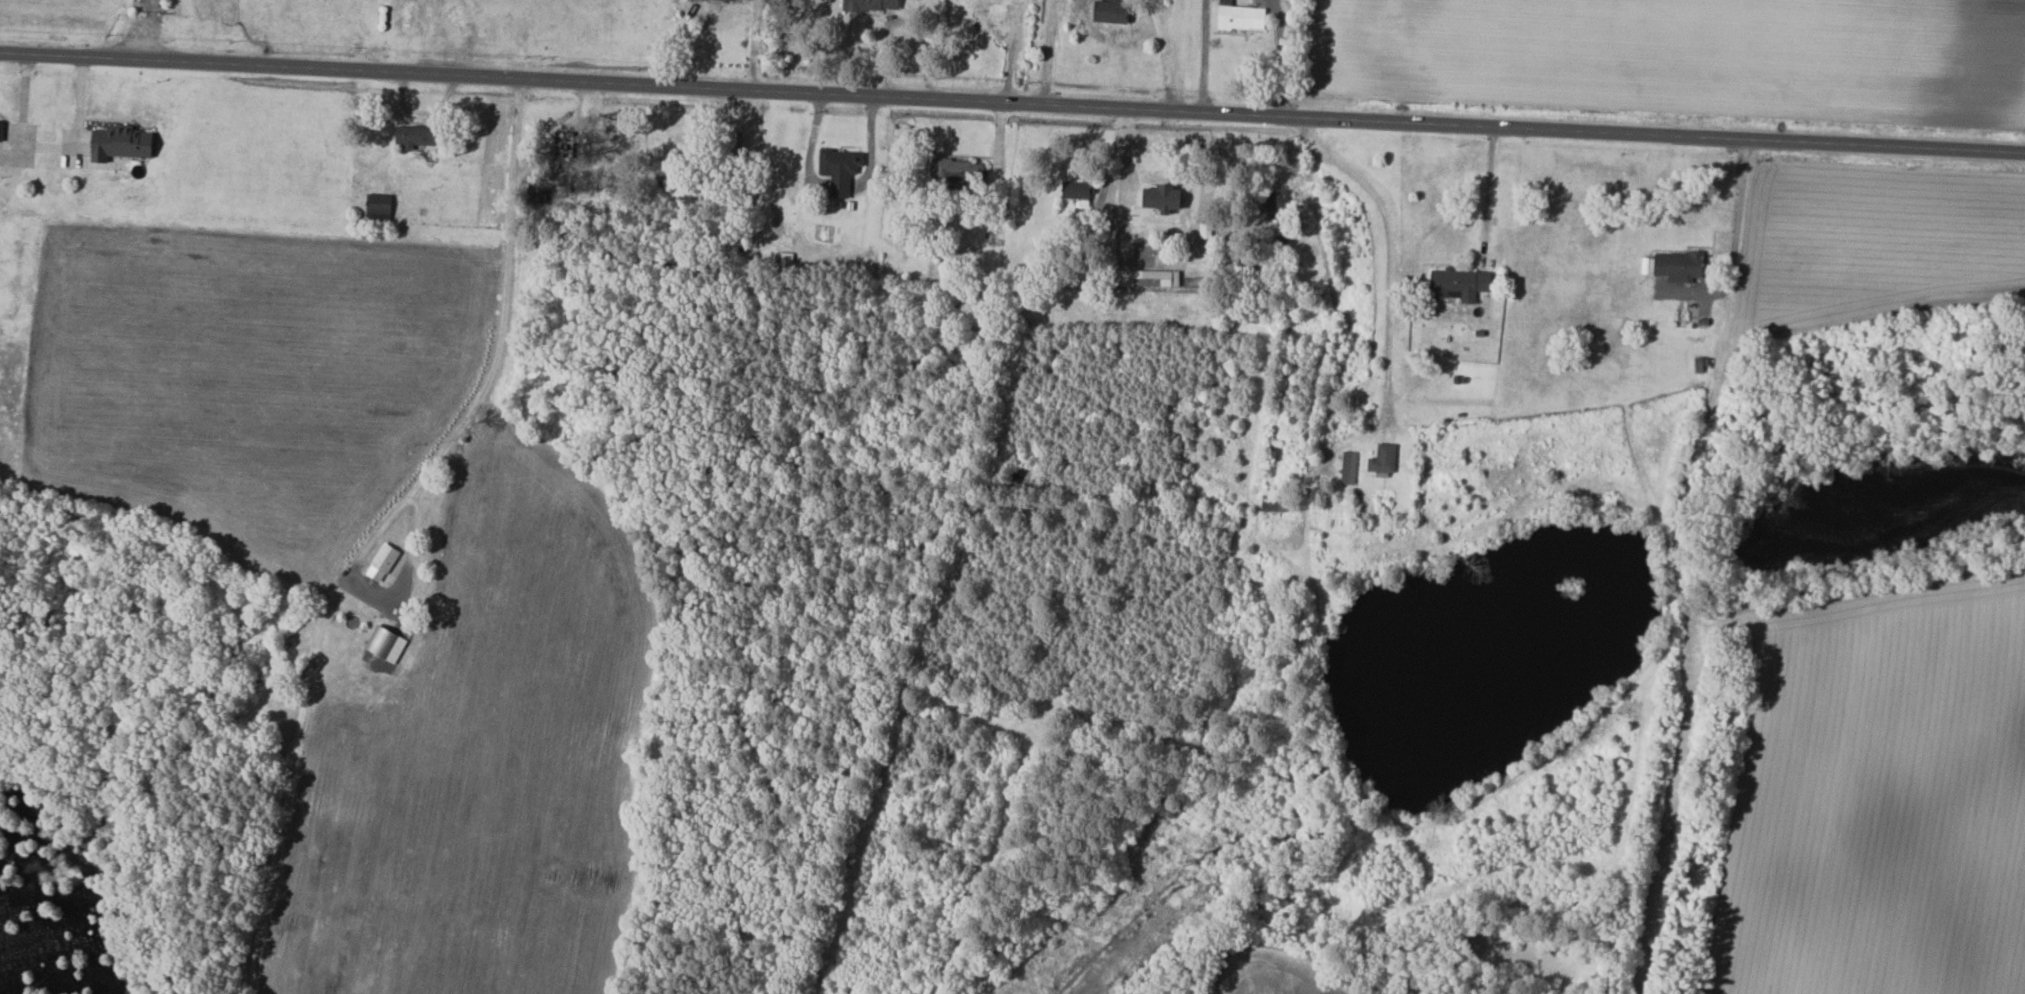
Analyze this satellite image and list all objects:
building: (1014, 0)
building: (867, 5)
building: (1105, 11)
building: (1237, 17)
building: (986, 23)
road: (754, 44)
road: (1049, 52)
road: (1164, 55)
road: (1203, 56)
road: (1281, 58)
road: (1012, 103)
road: (18, 123)
road: (76, 125)
building: (411, 136)
building: (116, 144)
road: (809, 145)
road: (869, 147)
building: (563, 158)
building: (837, 170)
building: (953, 173)
road: (837, 186)
road: (1488, 189)
building: (1074, 192)
building: (1157, 199)
building: (376, 204)
road: (1395, 255)
building: (1676, 266)
building: (1143, 279)
building: (1457, 284)
road: (505, 296)
road: (1327, 352)
building: (1381, 459)
building: (1347, 467)
road: (1671, 513)
building: (382, 557)
building: (376, 646)

